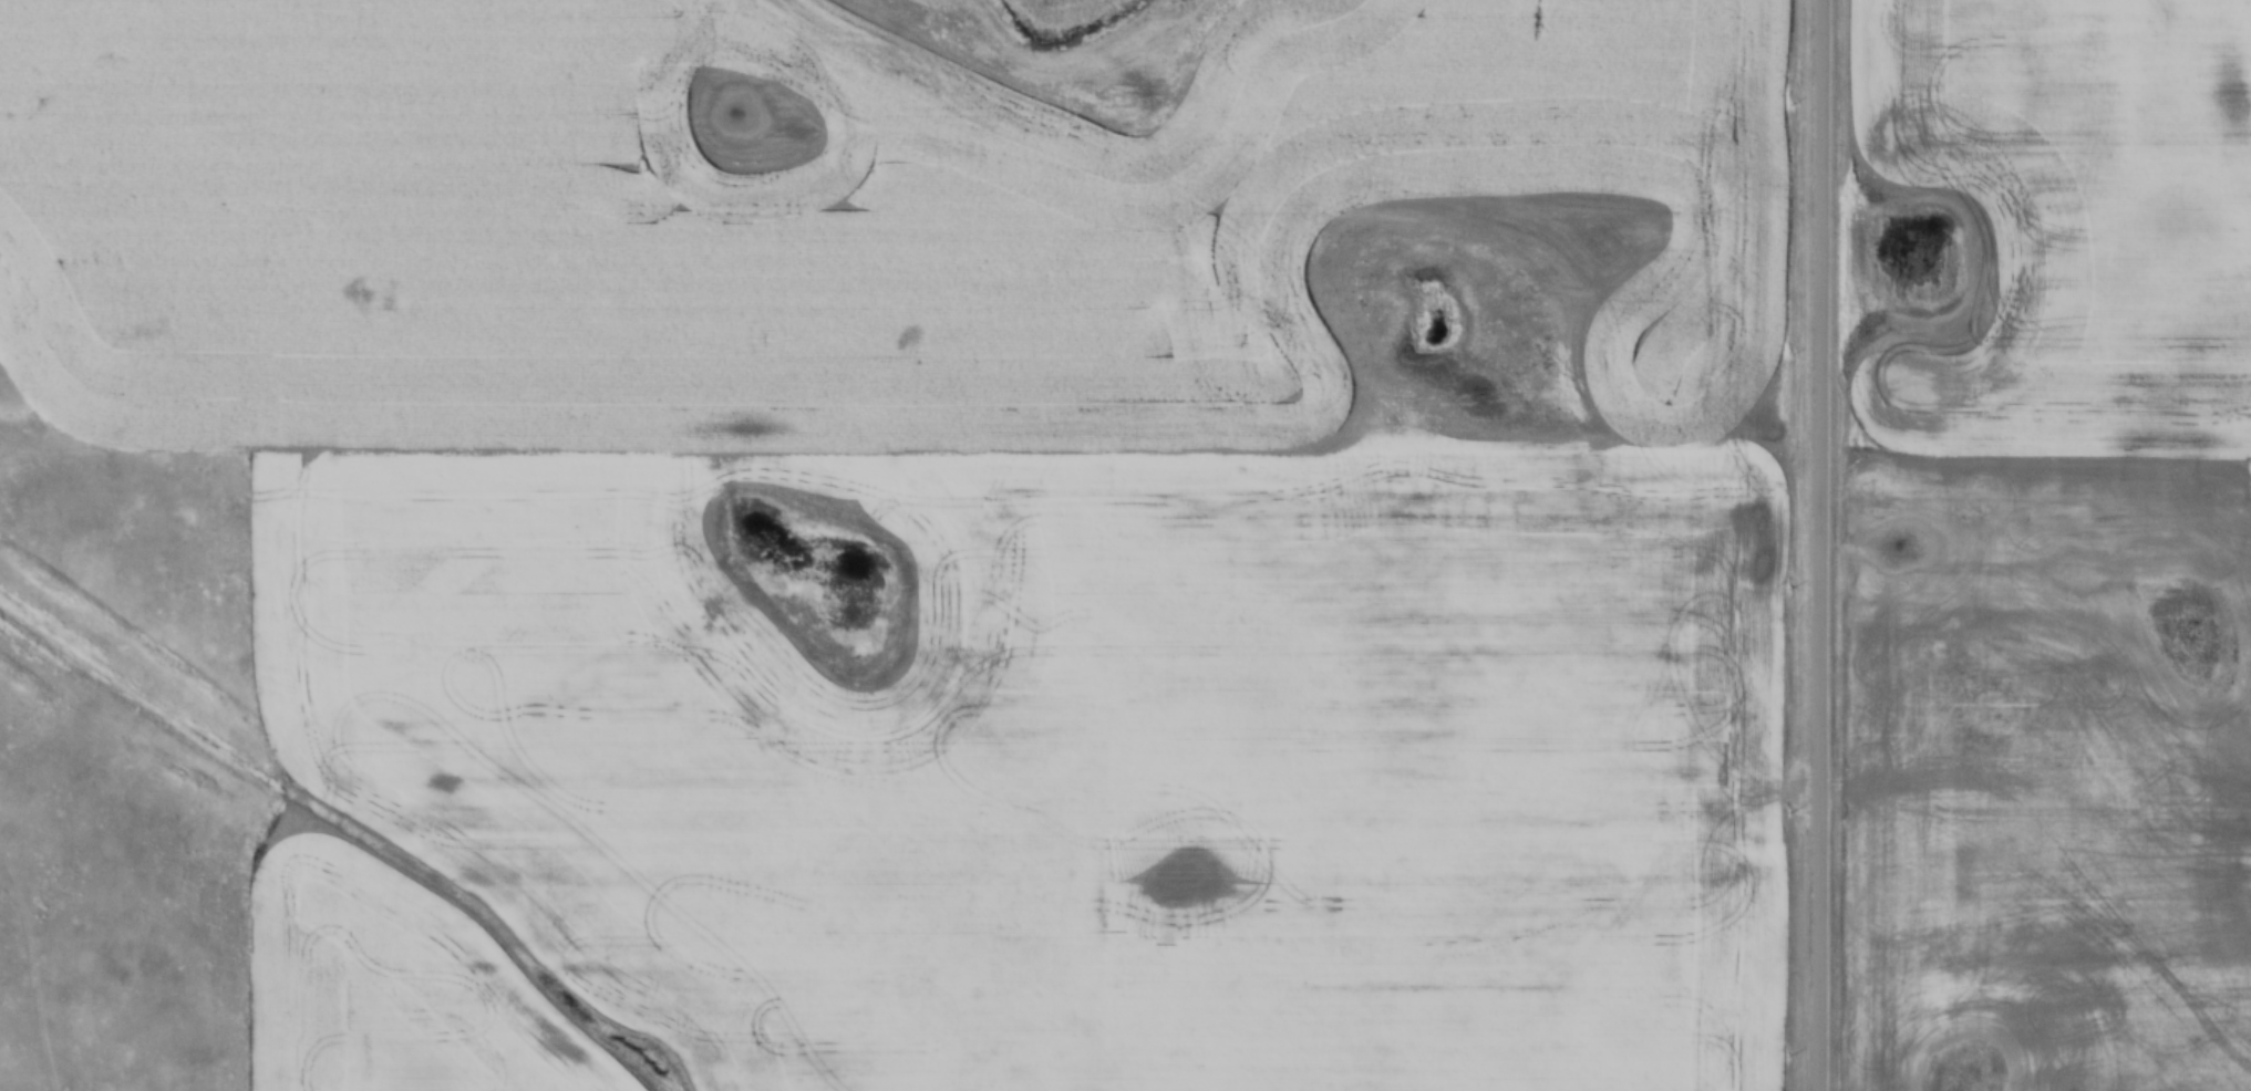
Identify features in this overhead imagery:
road: (1821, 545)

